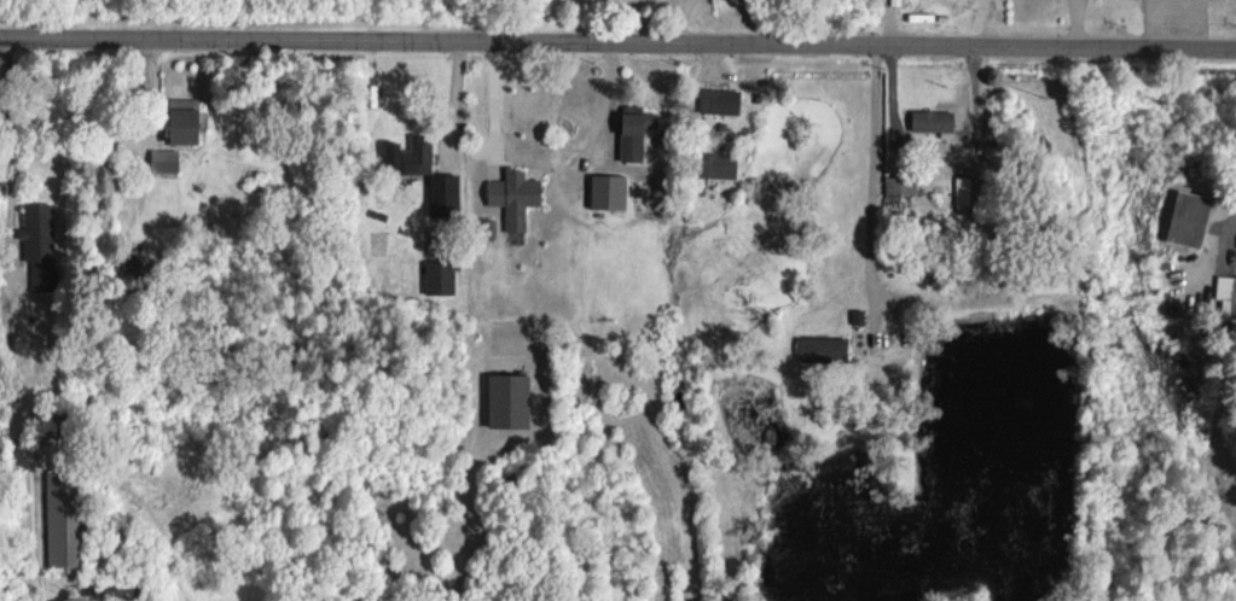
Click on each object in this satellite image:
road: (617, 37)
road: (893, 98)
building: (718, 100)
building: (179, 119)
building: (929, 119)
building: (632, 130)
building: (407, 156)
building: (162, 161)
building: (714, 164)
road: (877, 165)
building: (898, 186)
building: (605, 191)
road: (1, 192)
building: (441, 193)
building: (965, 193)
building: (512, 196)
building: (1185, 218)
building: (487, 227)
building: (36, 232)
building: (437, 276)
building: (1046, 281)
building: (1225, 296)
building: (820, 349)
building: (505, 399)
building: (62, 518)

